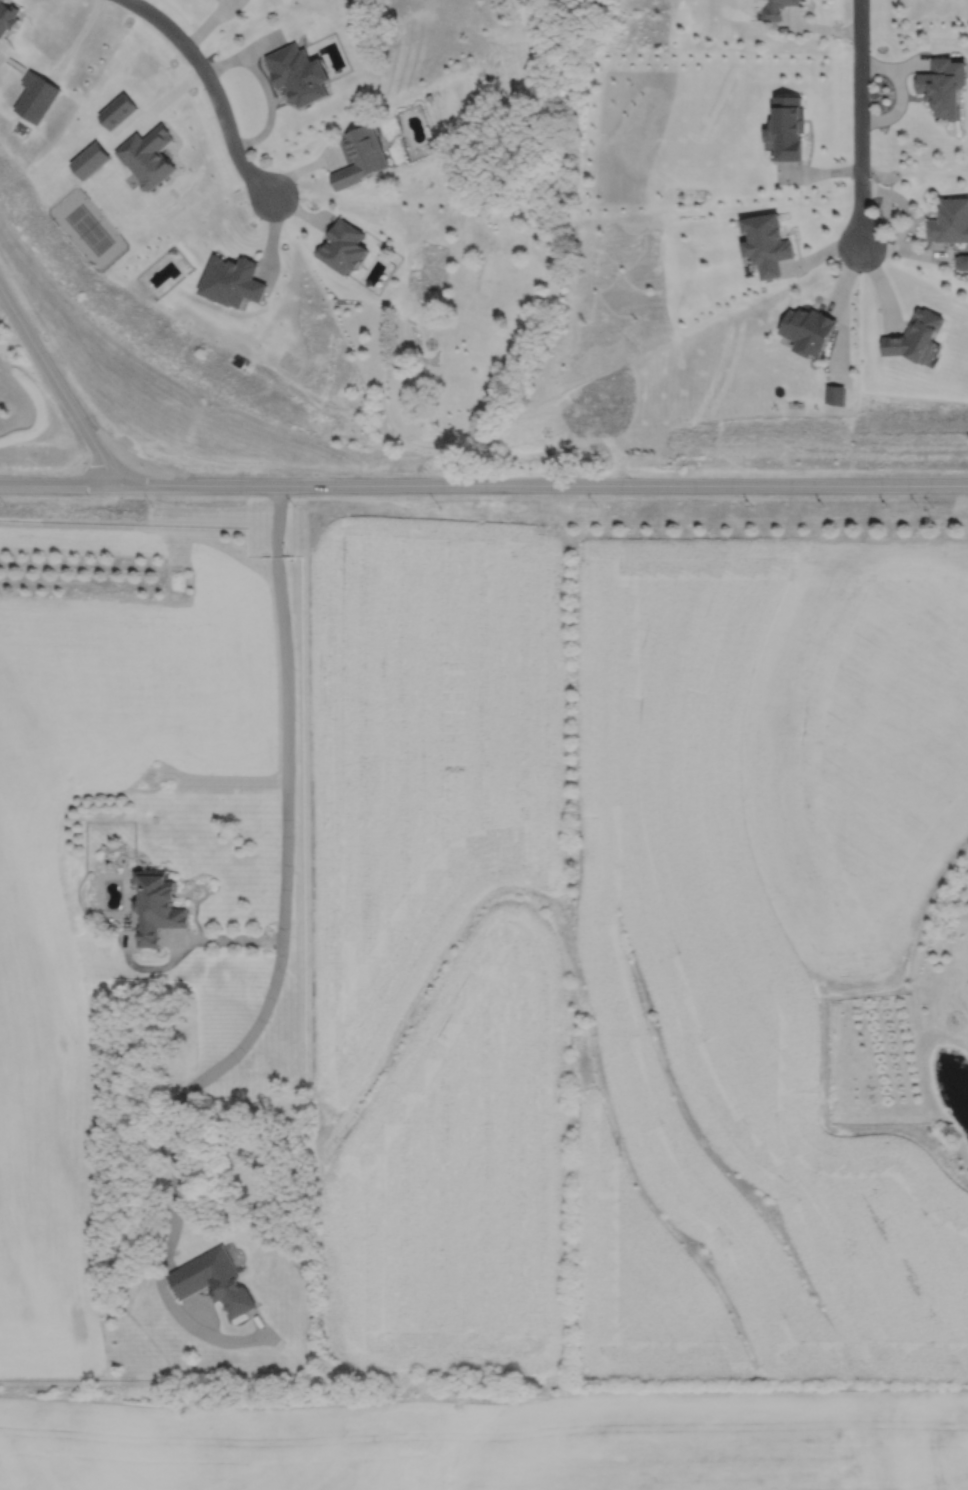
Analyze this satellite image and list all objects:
building: (788, 3)
building: (300, 74)
road: (264, 86)
building: (946, 86)
road: (214, 89)
road: (860, 122)
building: (362, 157)
road: (907, 220)
building: (951, 222)
road: (59, 390)
road: (65, 484)
road: (548, 485)
building: (158, 906)
road: (225, 937)
road: (280, 945)
building: (214, 1281)

